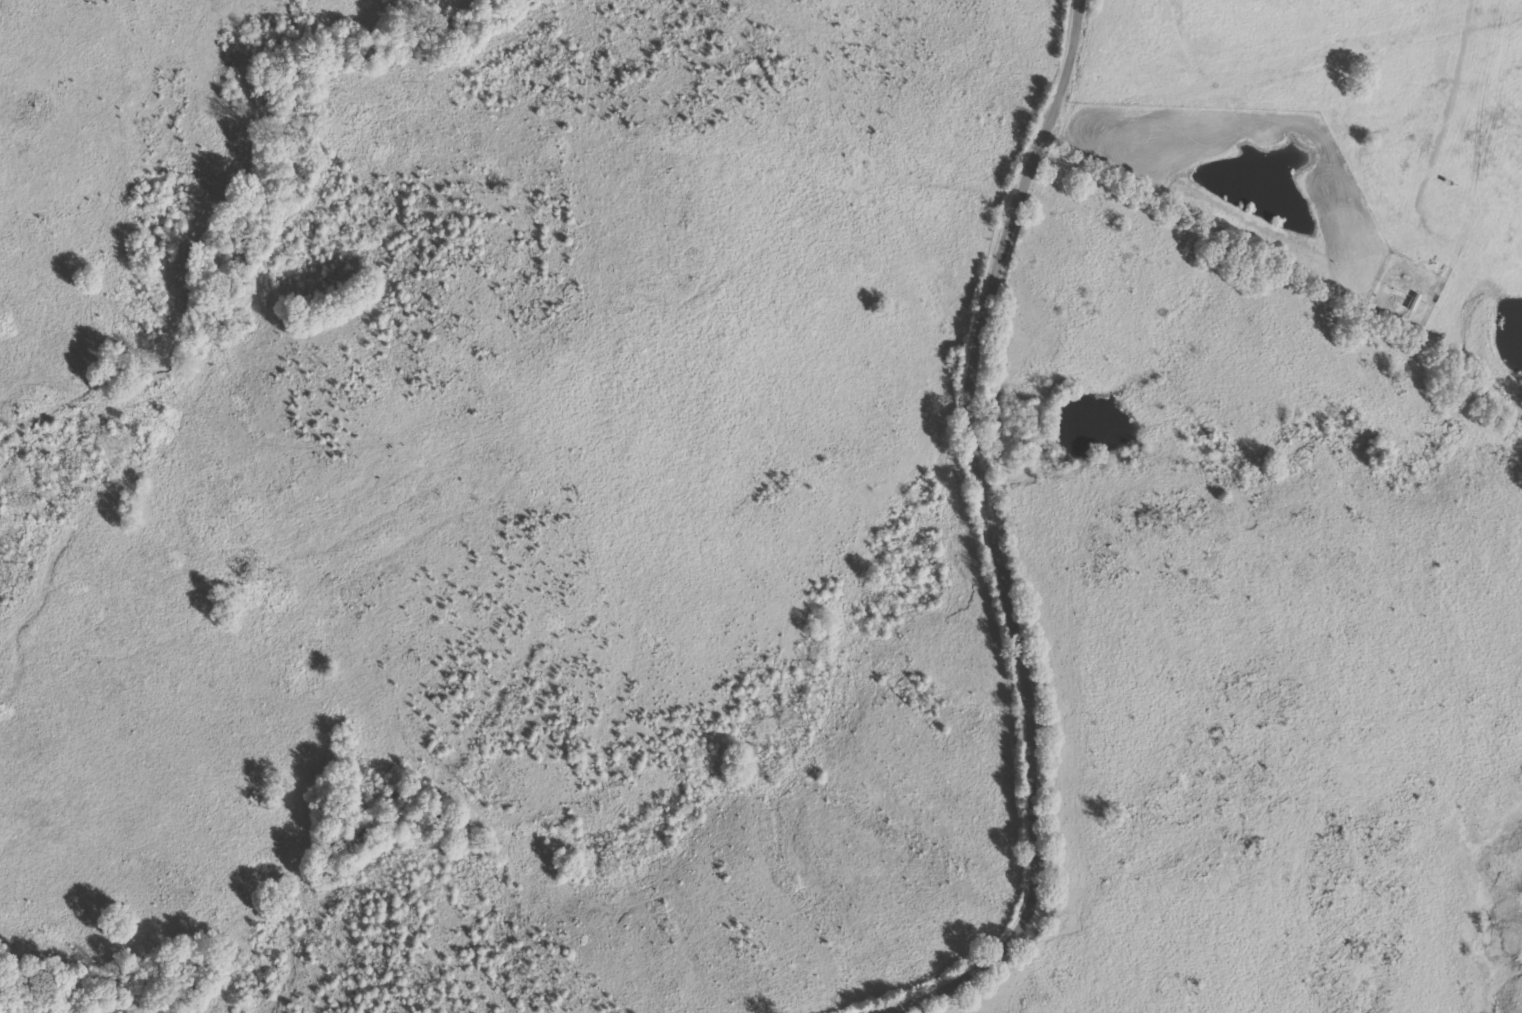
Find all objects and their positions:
road: (983, 551)

